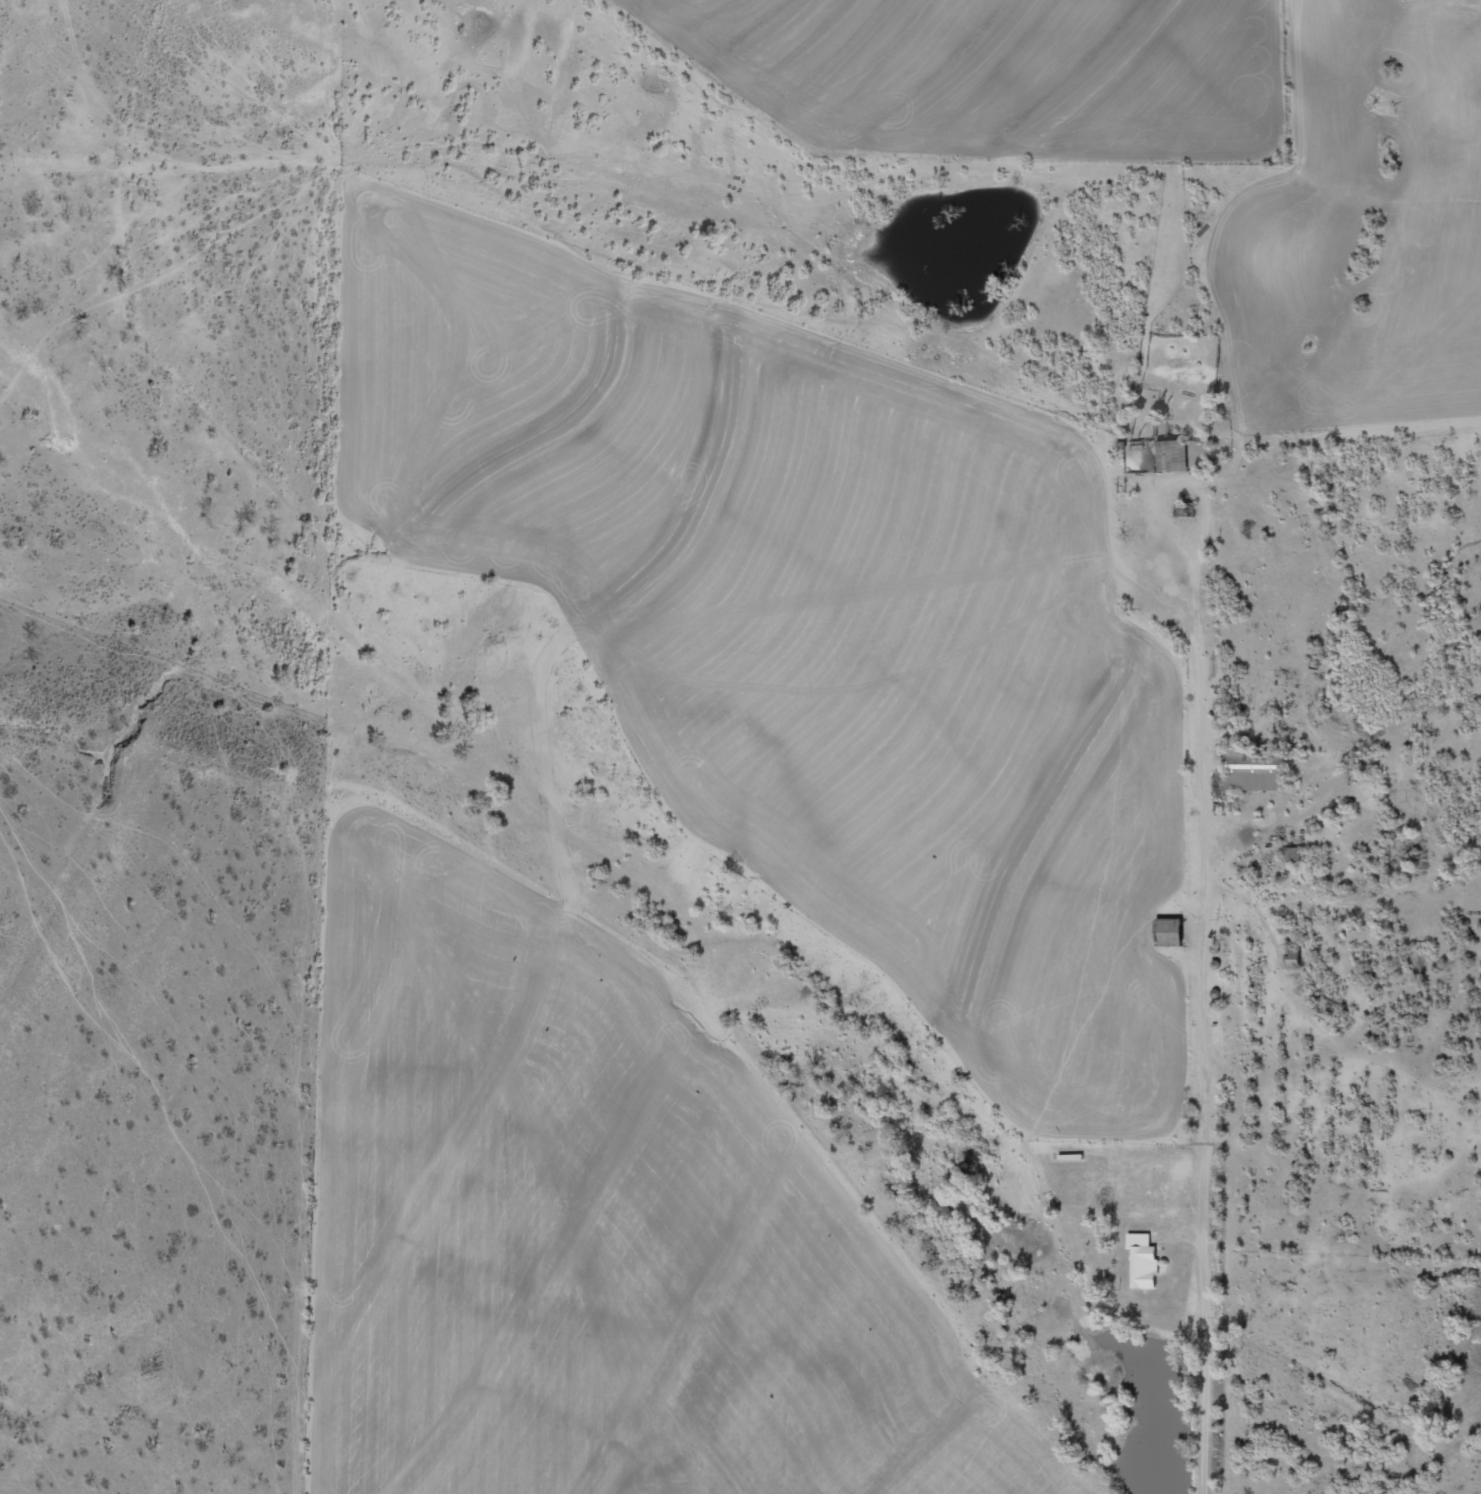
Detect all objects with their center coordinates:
building: (1175, 458)
building: (1138, 459)
road: (1127, 575)
road: (1200, 739)
building: (1254, 771)
building: (1171, 933)
building: (1145, 1261)

